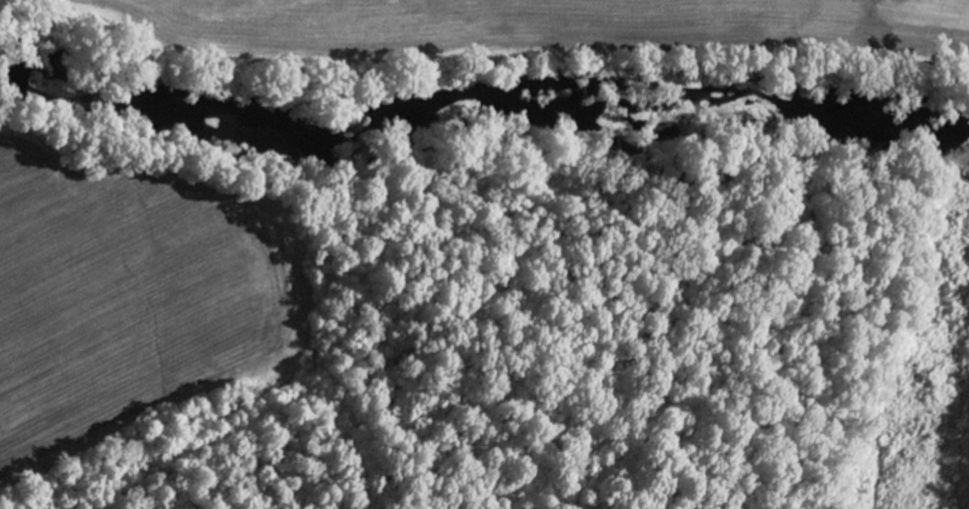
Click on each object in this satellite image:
river: (487, 125)

